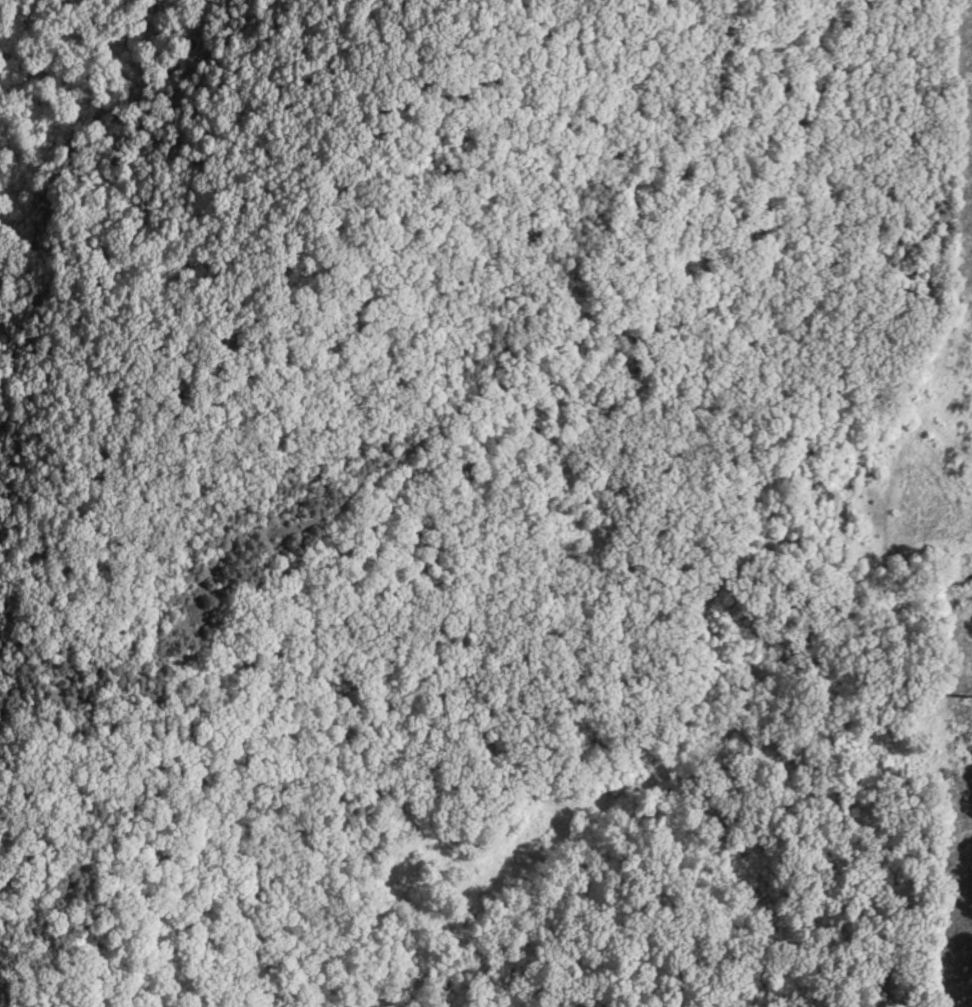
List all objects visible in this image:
power tower: (971, 691)

